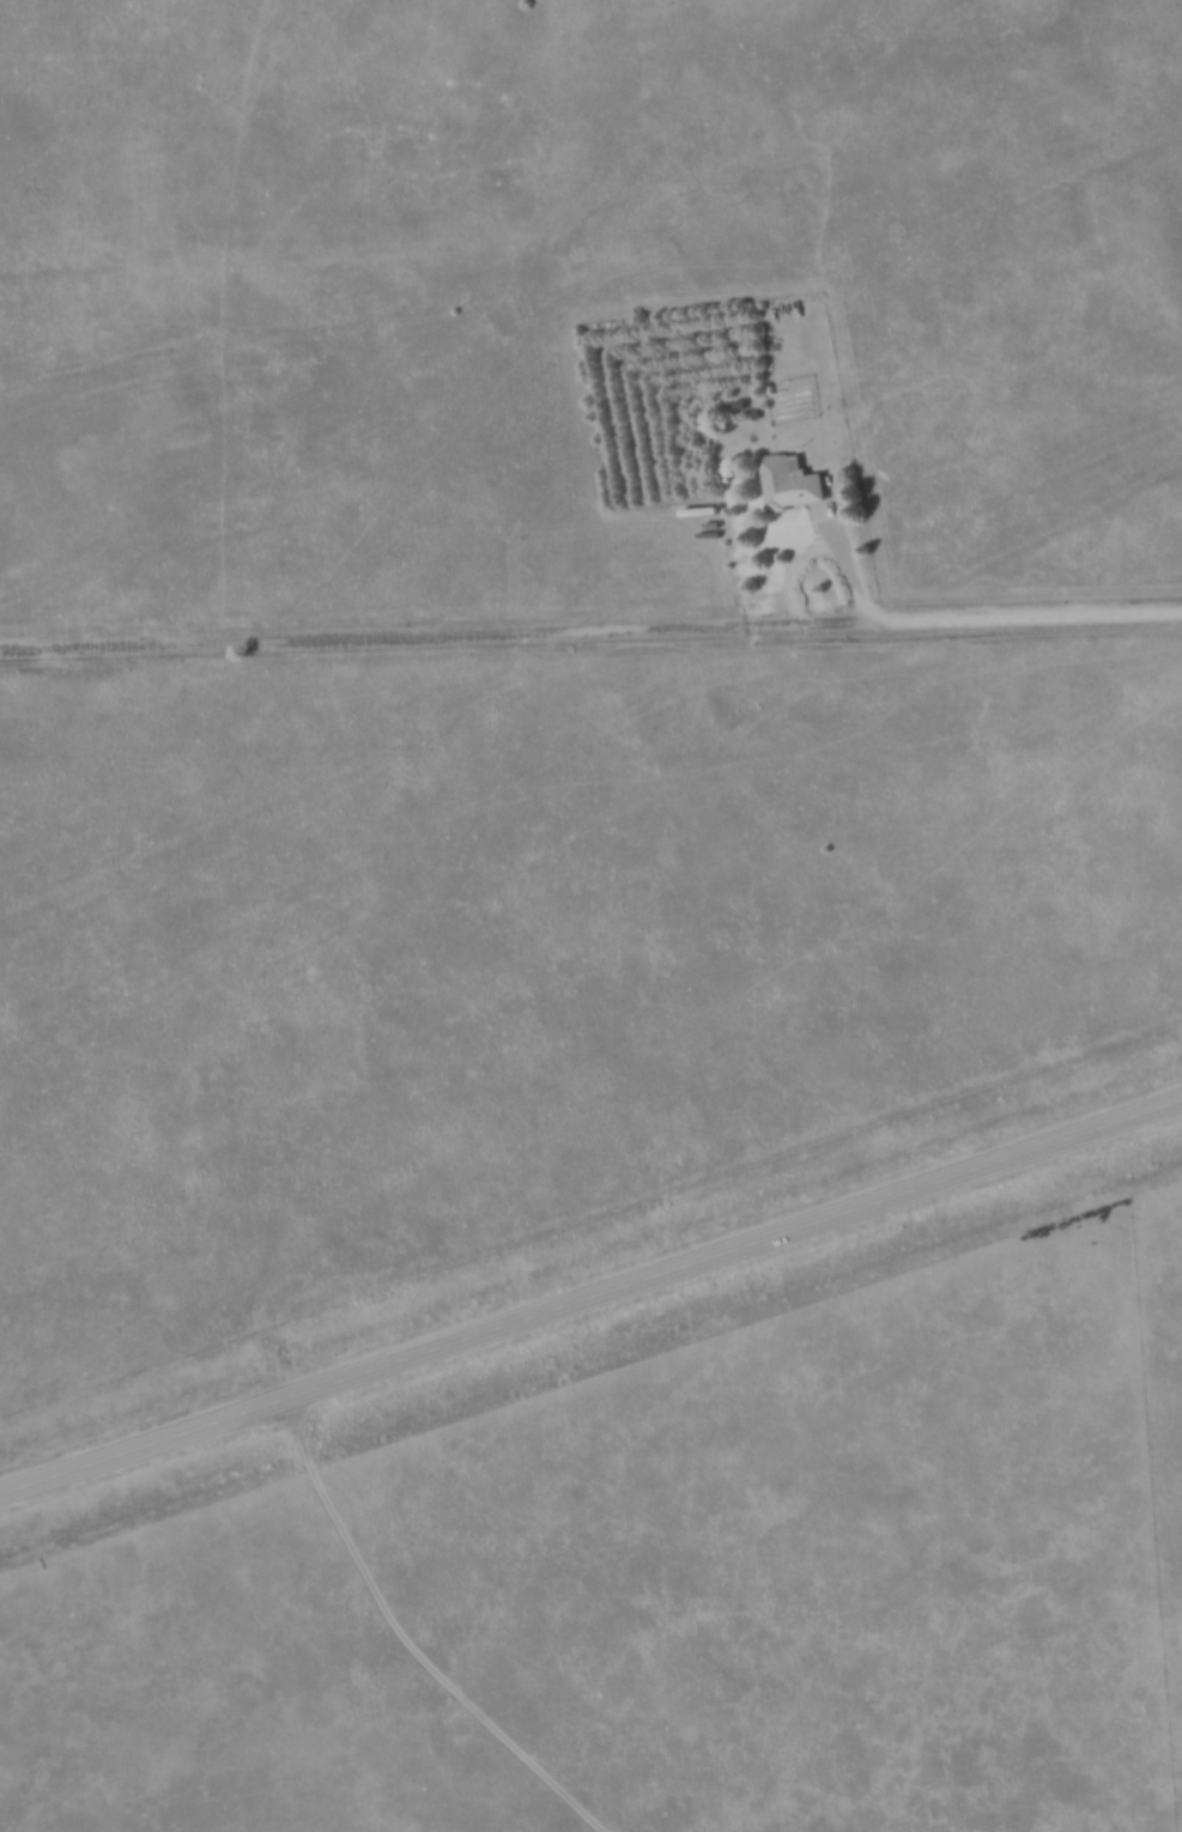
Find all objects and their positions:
building: (794, 480)
road: (962, 630)
road: (590, 1304)

